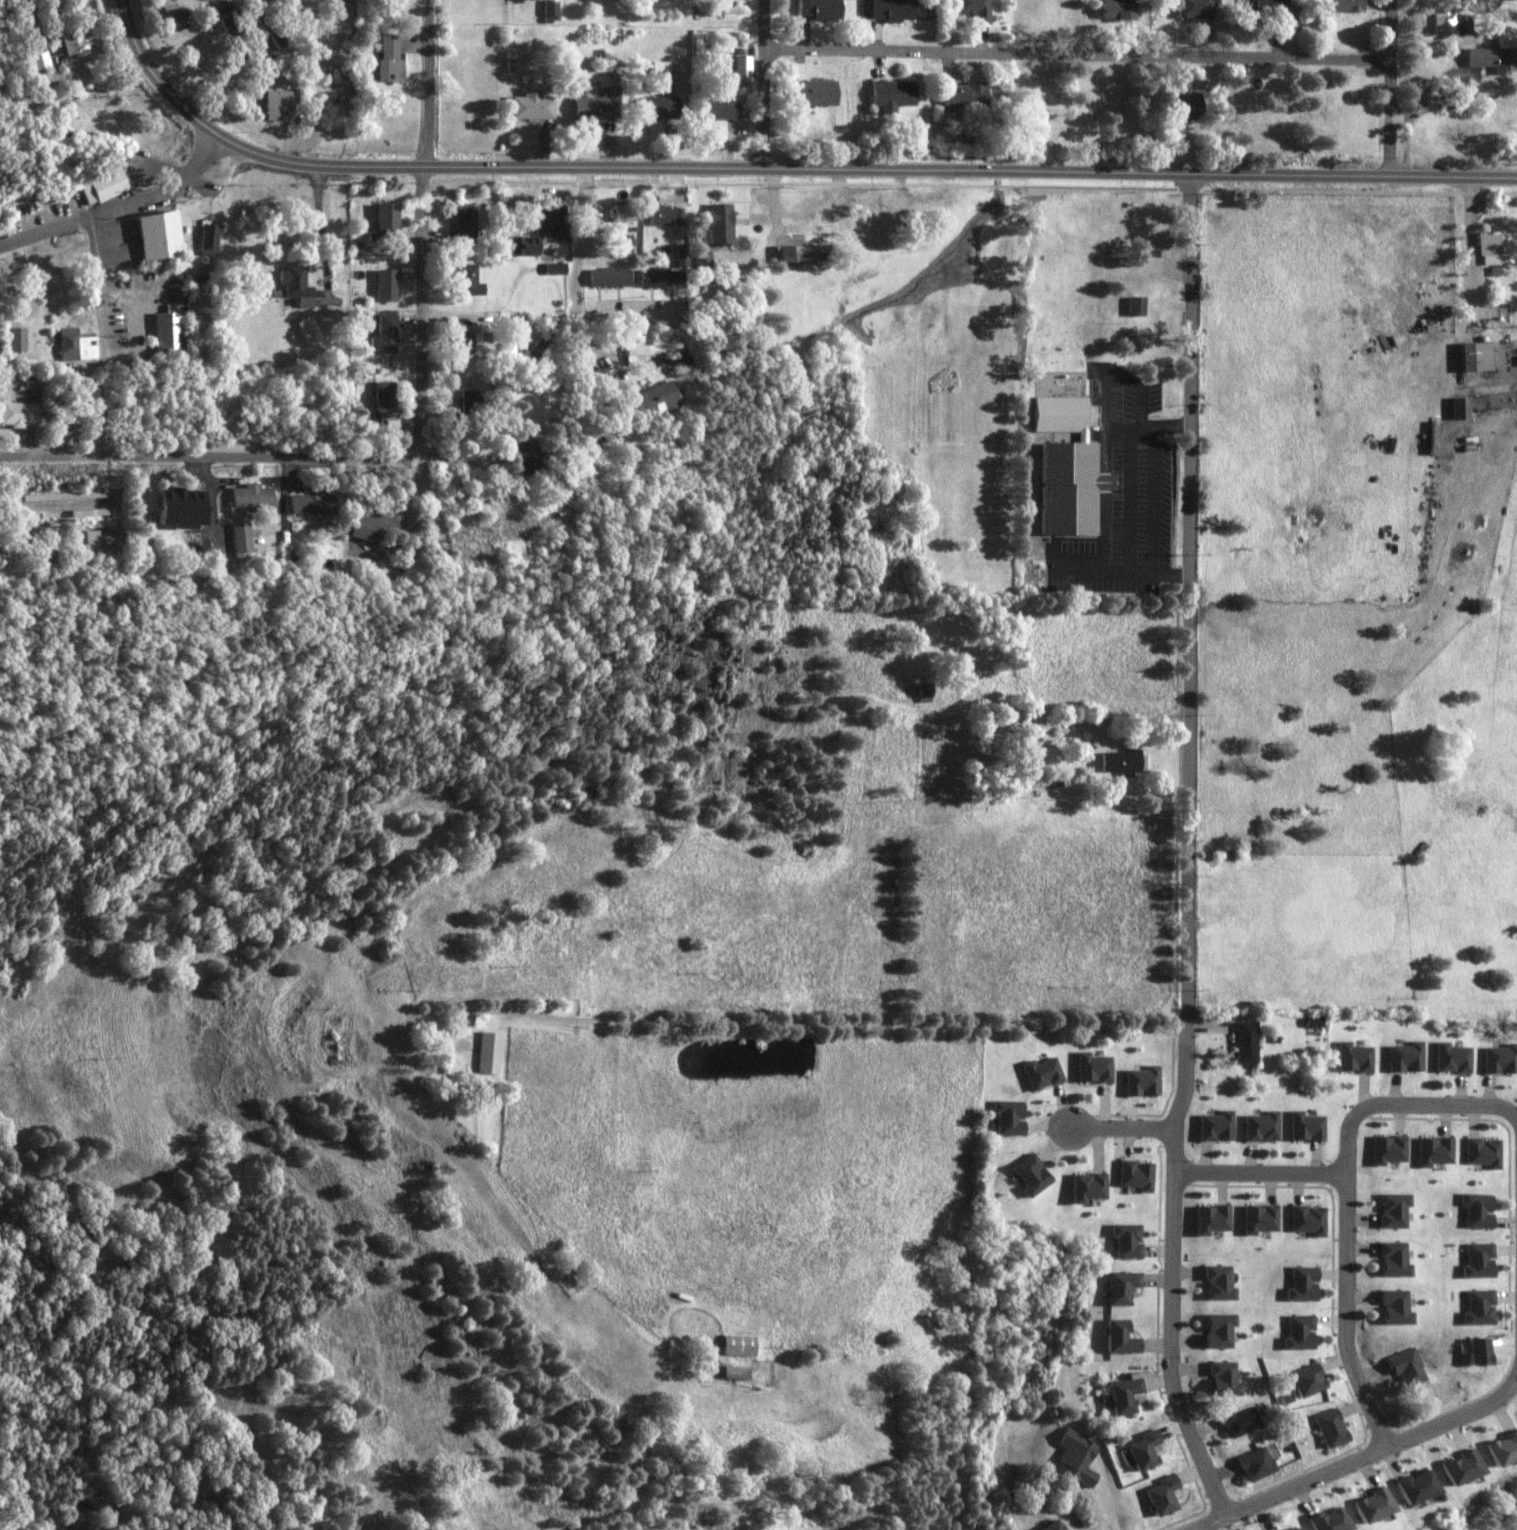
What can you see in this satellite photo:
building: (1342, 5)
building: (1265, 6)
building: (1192, 8)
building: (551, 9)
building: (822, 9)
building: (893, 9)
building: (974, 9)
building: (1115, 9)
road: (319, 13)
building: (338, 13)
building: (1442, 22)
building: (270, 26)
building: (73, 35)
road: (199, 53)
road: (1078, 55)
building: (390, 56)
building: (1491, 57)
building: (38, 60)
building: (663, 80)
road: (432, 83)
road: (767, 83)
road: (1388, 87)
building: (816, 92)
building: (892, 94)
building: (963, 94)
building: (532, 104)
building: (1181, 104)
building: (279, 105)
building: (658, 105)
building: (596, 106)
building: (721, 107)
road: (778, 167)
building: (102, 186)
road: (122, 209)
building: (623, 212)
building: (668, 214)
building: (549, 220)
building: (387, 221)
building: (722, 223)
building: (463, 225)
building: (159, 236)
building: (210, 239)
building: (523, 245)
building: (624, 245)
building: (1496, 247)
building: (803, 252)
building: (683, 254)
building: (705, 266)
building: (557, 267)
building: (611, 276)
building: (663, 278)
building: (469, 279)
road: (580, 282)
building: (297, 284)
building: (386, 284)
building: (1135, 305)
building: (309, 328)
building: (170, 331)
building: (385, 334)
building: (15, 339)
building: (468, 343)
building: (75, 345)
building: (538, 348)
building: (641, 351)
building: (1475, 356)
building: (384, 396)
building: (650, 398)
building: (472, 400)
building: (1460, 408)
building: (18, 413)
road: (348, 454)
building: (525, 457)
building: (1069, 468)
building: (250, 495)
building: (309, 503)
building: (181, 507)
building: (367, 524)
building: (97, 536)
building: (238, 540)
road: (1193, 595)
building: (1121, 763)
building: (1313, 1021)
road: (830, 1025)
building: (1246, 1042)
building: (488, 1053)
building: (1406, 1057)
building: (1354, 1058)
building: (1452, 1058)
building: (1500, 1059)
building: (1091, 1068)
building: (1040, 1073)
building: (1140, 1081)
road: (1409, 1105)
building: (1008, 1117)
building: (1216, 1126)
road: (1123, 1127)
building: (1262, 1127)
building: (1306, 1127)
building: (1388, 1149)
building: (1434, 1151)
building: (1483, 1152)
road: (462, 1168)
road: (1262, 1172)
building: (1029, 1175)
building: (1134, 1176)
building: (1085, 1187)
building: (1394, 1210)
building: (1476, 1210)
building: (1212, 1219)
building: (1259, 1219)
building: (1309, 1220)
building: (1126, 1240)
building: (1393, 1260)
building: (1476, 1261)
road: (1172, 1271)
building: (1218, 1284)
building: (1301, 1284)
building: (1121, 1287)
building: (1394, 1308)
building: (1476, 1308)
road: (1350, 1312)
building: (1218, 1330)
building: (1298, 1333)
building: (1120, 1338)
building: (737, 1346)
building: (1476, 1352)
building: (1405, 1366)
building: (734, 1373)
building: (1222, 1379)
building: (1308, 1380)
building: (1123, 1396)
building: (1241, 1421)
building: (1330, 1428)
building: (1500, 1449)
building: (1143, 1451)
building: (1075, 1456)
road: (1358, 1456)
building: (1256, 1464)
building: (1457, 1468)
building: (1413, 1487)
building: (1162, 1496)
building: (1369, 1507)
building: (1326, 1521)
building: (1052, 1526)
building: (1292, 1528)

